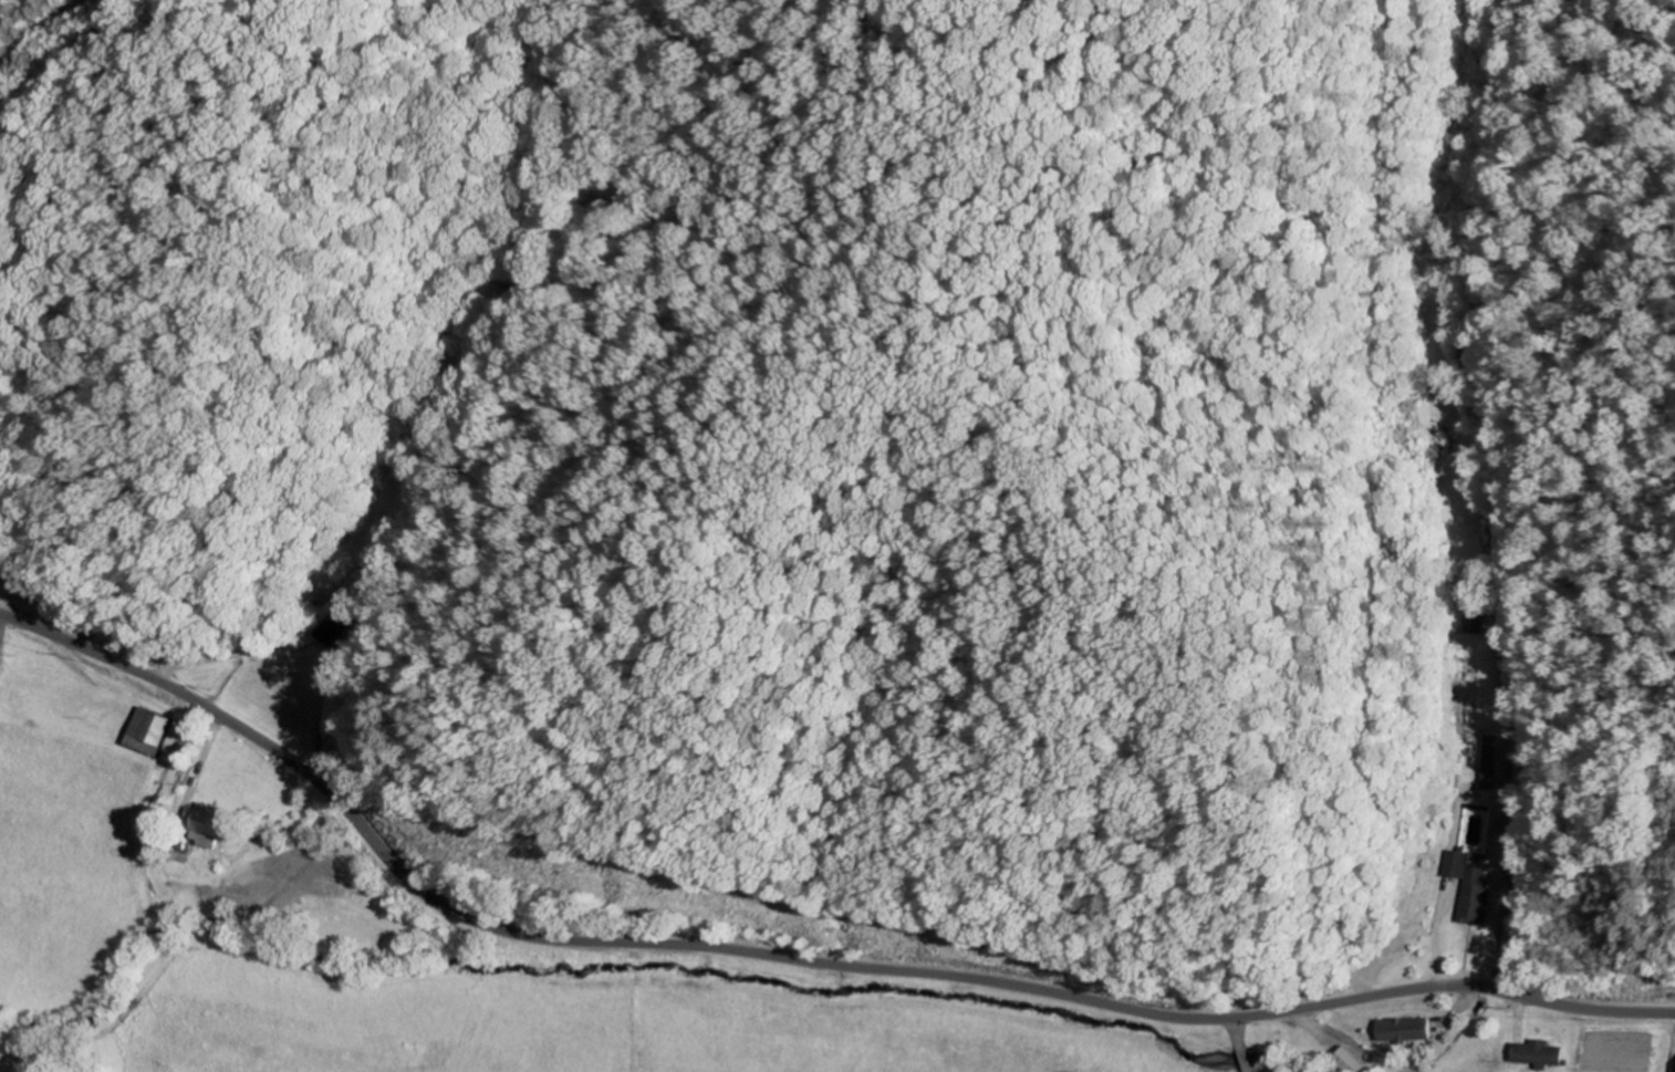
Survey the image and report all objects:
road: (1497, 497)
building: (331, 629)
building: (1, 659)
building: (148, 733)
building: (1489, 767)
building: (207, 825)
road: (157, 872)
building: (1475, 898)
road: (792, 959)
building: (1404, 1031)
building: (1538, 1055)
building: (1351, 1062)
park: (3, 1069)

